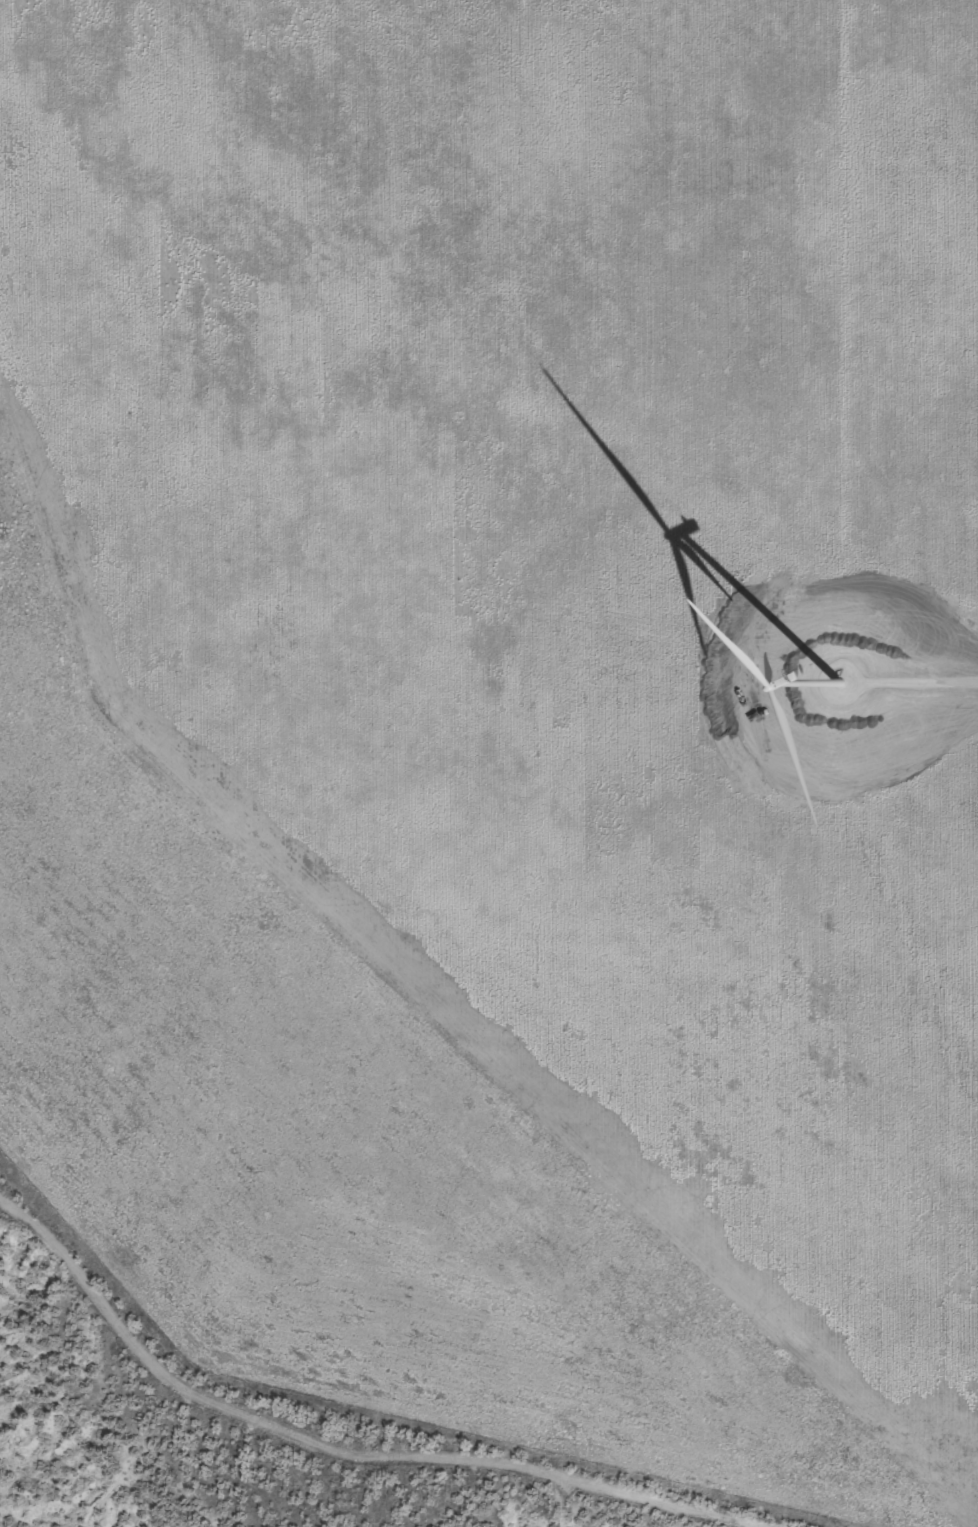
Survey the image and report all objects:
wind turbine: (834, 684)
road: (419, 917)

